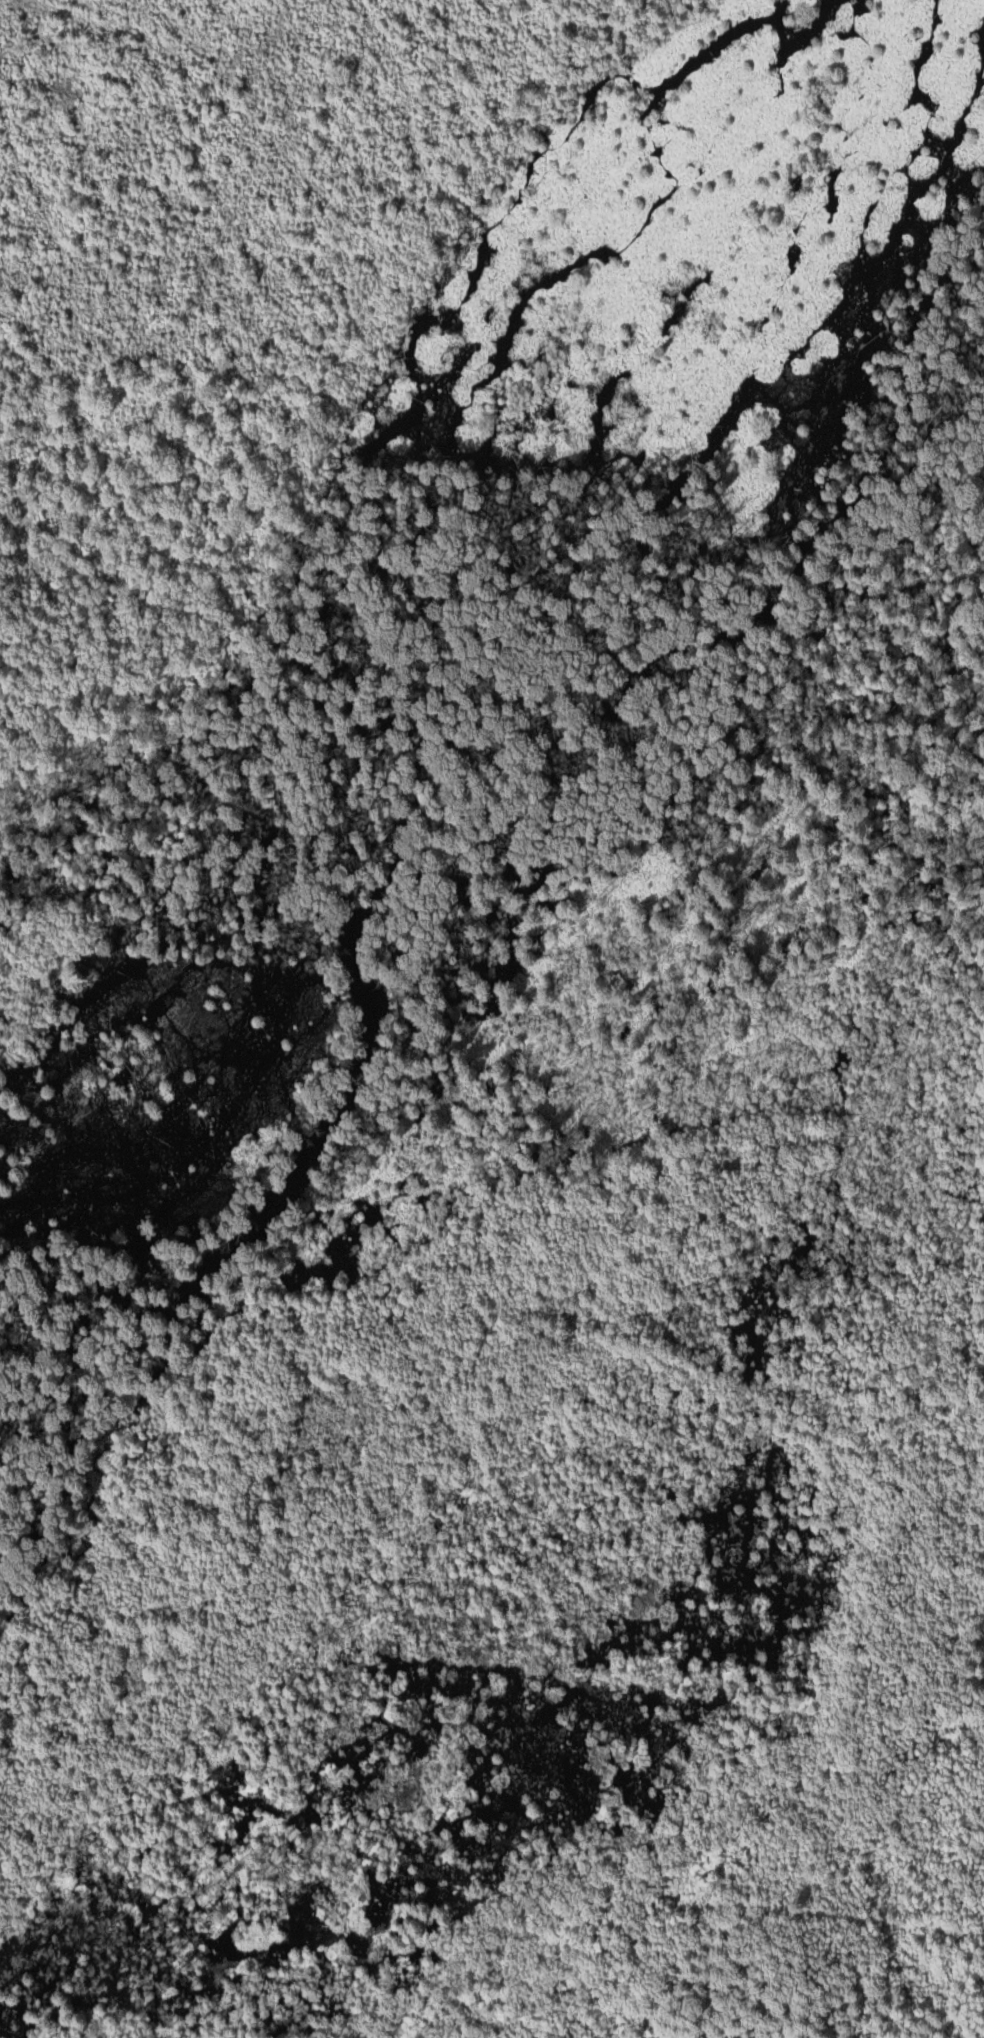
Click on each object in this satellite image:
river: (397, 847)

